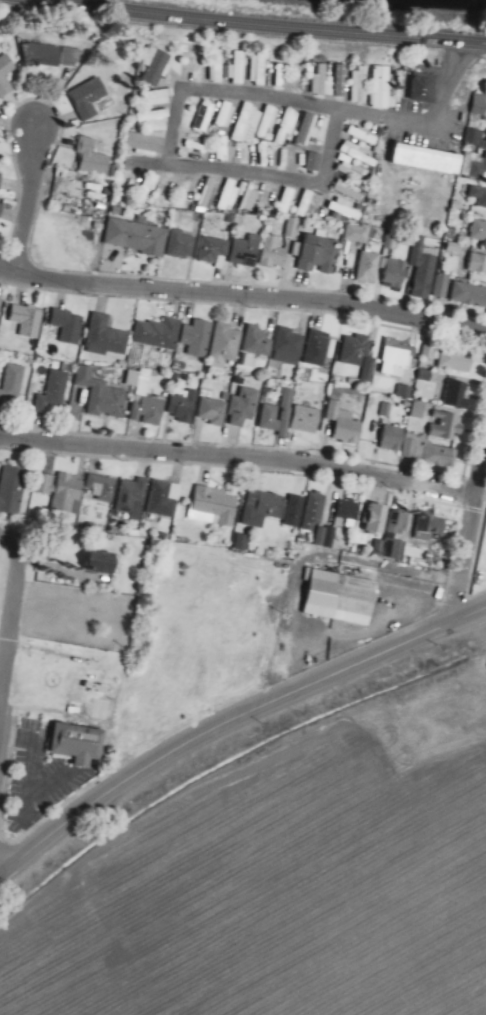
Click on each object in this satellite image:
road: (265, 25)
building: (58, 55)
building: (158, 65)
building: (202, 65)
building: (242, 67)
building: (235, 68)
building: (214, 69)
building: (221, 69)
building: (262, 70)
building: (8, 75)
building: (304, 79)
building: (323, 80)
building: (344, 81)
building: (362, 86)
building: (425, 87)
building: (386, 88)
building: (89, 98)
building: (159, 98)
road: (313, 102)
building: (480, 105)
building: (207, 116)
building: (154, 117)
building: (227, 119)
building: (247, 123)
building: (270, 124)
building: (287, 127)
building: (309, 130)
building: (365, 136)
building: (477, 138)
building: (147, 142)
building: (362, 155)
building: (95, 156)
building: (430, 157)
building: (312, 163)
building: (480, 168)
building: (354, 172)
road: (268, 174)
building: (2, 180)
building: (147, 187)
building: (169, 190)
building: (352, 191)
building: (209, 192)
building: (479, 194)
building: (231, 196)
building: (252, 197)
building: (288, 200)
road: (31, 202)
building: (310, 205)
building: (0, 207)
building: (344, 208)
building: (0, 225)
building: (290, 228)
building: (480, 231)
building: (358, 233)
building: (140, 236)
park: (68, 241)
building: (184, 245)
building: (215, 249)
building: (249, 250)
building: (276, 253)
building: (321, 254)
building: (478, 263)
building: (428, 266)
building: (371, 271)
building: (399, 271)
building: (462, 292)
road: (243, 295)
building: (2, 306)
building: (30, 319)
building: (70, 325)
building: (161, 333)
building: (109, 337)
building: (199, 339)
building: (257, 341)
building: (291, 345)
building: (227, 346)
building: (318, 348)
building: (359, 350)
building: (398, 359)
building: (459, 361)
building: (13, 383)
building: (56, 391)
building: (402, 391)
building: (457, 393)
building: (104, 395)
building: (186, 407)
building: (245, 407)
building: (384, 410)
building: (417, 410)
building: (151, 411)
building: (215, 411)
building: (309, 420)
building: (276, 421)
building: (347, 422)
building: (450, 425)
building: (395, 439)
building: (428, 452)
road: (237, 456)
building: (13, 489)
building: (102, 490)
building: (69, 493)
building: (135, 498)
building: (165, 499)
building: (218, 503)
building: (265, 508)
building: (292, 511)
building: (315, 512)
building: (377, 517)
road: (467, 523)
building: (433, 524)
building: (342, 525)
building: (399, 536)
building: (240, 543)
building: (103, 560)
park: (2, 564)
building: (343, 597)
road: (13, 617)
park: (154, 641)
road: (231, 720)
building: (80, 741)
parking lot: (40, 780)
road: (187, 809)
crop: (275, 847)

